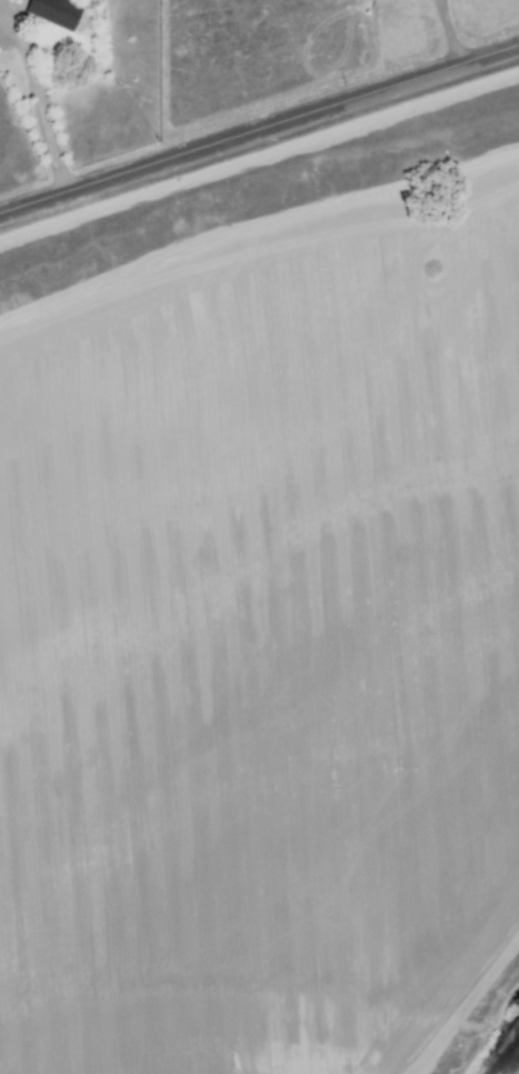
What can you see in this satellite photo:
building: (51, 11)
road: (31, 99)
road: (259, 126)
river: (515, 1067)

